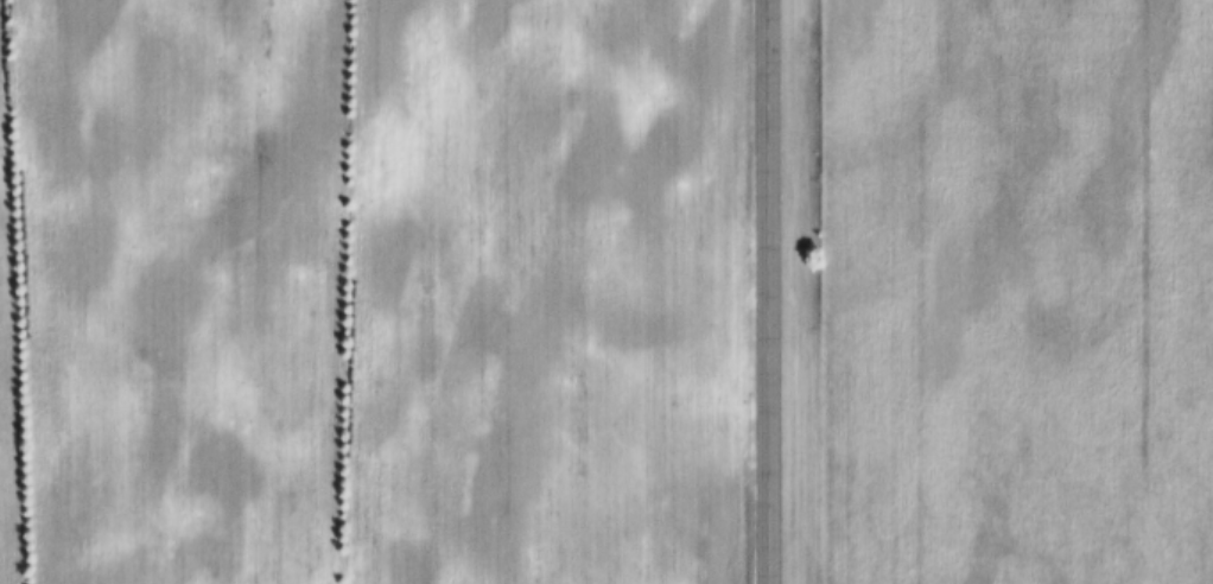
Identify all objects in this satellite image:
road: (768, 292)

